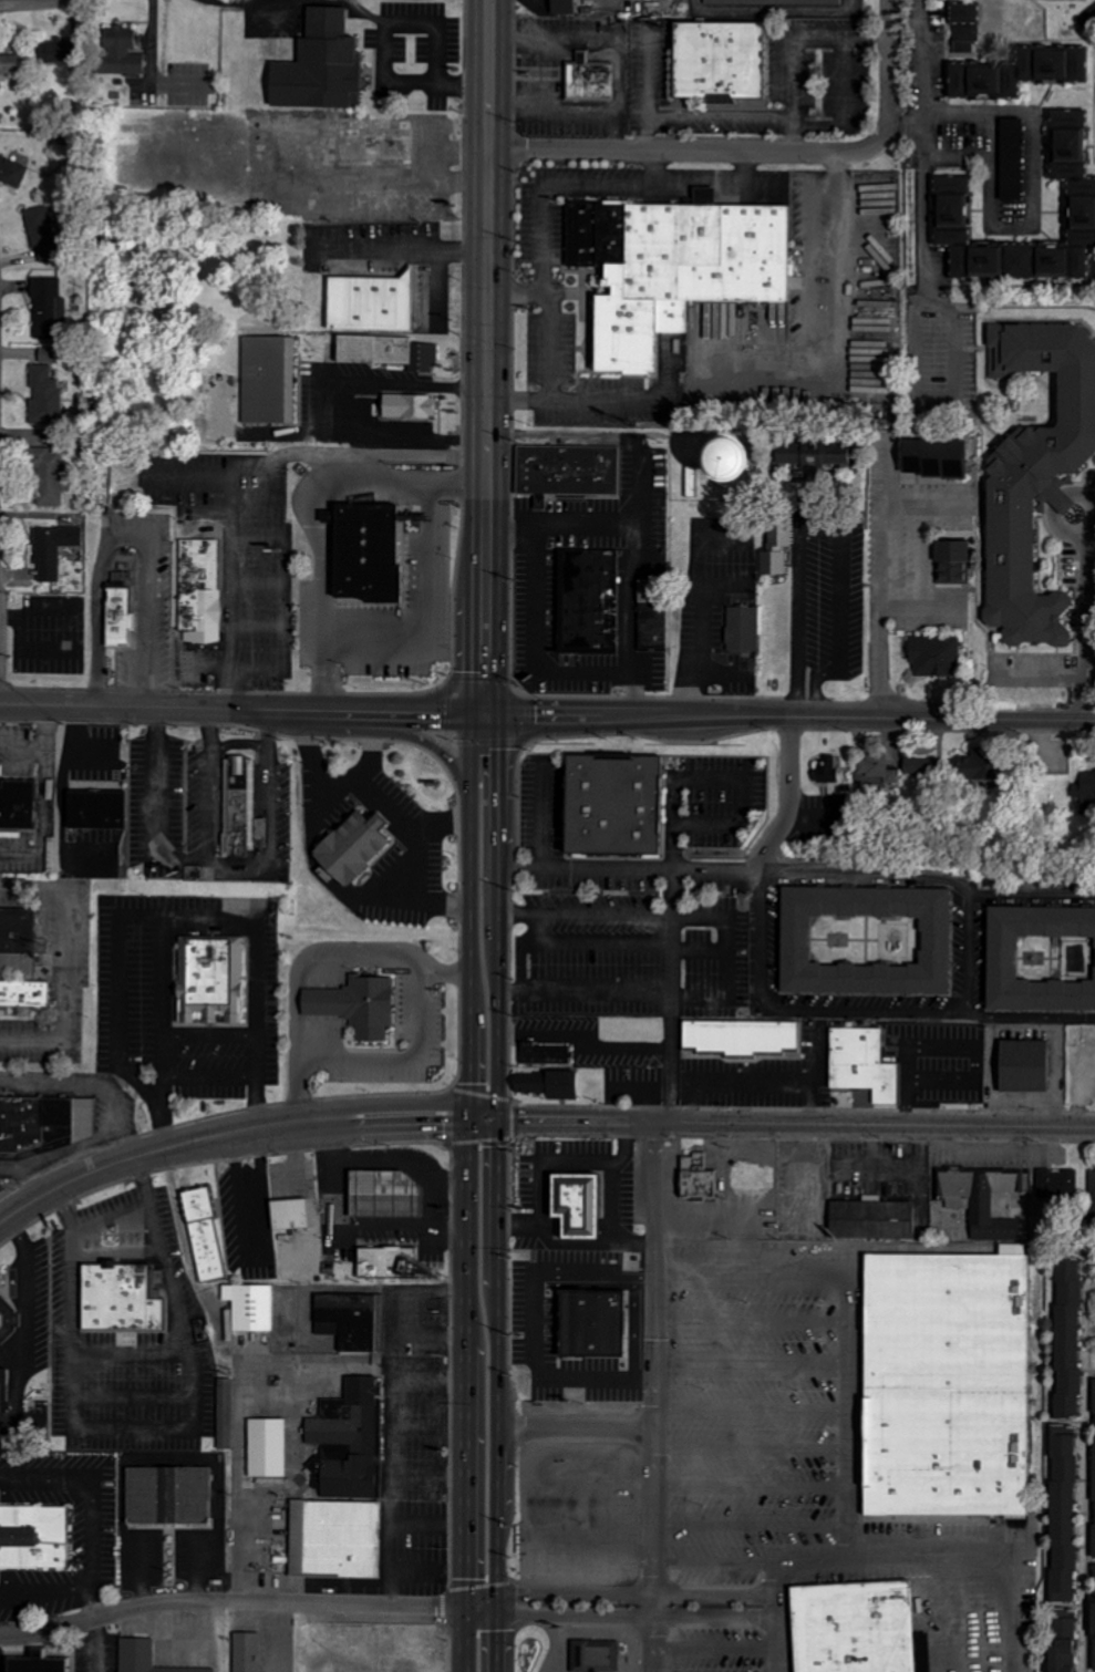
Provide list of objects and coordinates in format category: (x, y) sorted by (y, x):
road: (0, 0)
building: (776, 2)
building: (562, 7)
building: (963, 23)
road: (389, 48)
building: (56, 51)
building: (120, 53)
building: (716, 61)
building: (10, 64)
building: (319, 68)
road: (890, 72)
building: (1015, 73)
building: (589, 80)
road: (683, 152)
building: (1011, 161)
road: (659, 169)
building: (11, 172)
road: (559, 187)
road: (1036, 197)
road: (924, 204)
building: (950, 214)
building: (42, 235)
building: (669, 265)
road: (518, 296)
building: (370, 303)
building: (50, 311)
building: (373, 334)
building: (657, 352)
building: (385, 353)
building: (45, 355)
road: (485, 355)
water tower: (698, 376)
building: (268, 380)
building: (44, 396)
road: (574, 399)
building: (409, 405)
road: (338, 411)
road: (637, 452)
building: (936, 458)
building: (814, 460)
building: (568, 469)
building: (49, 477)
building: (1035, 477)
road: (1056, 494)
road: (1088, 495)
road: (887, 506)
road: (304, 509)
road: (827, 524)
road: (1064, 533)
road: (123, 534)
building: (776, 541)
building: (54, 548)
building: (364, 551)
road: (882, 555)
road: (927, 555)
building: (952, 561)
building: (199, 590)
road: (424, 600)
building: (591, 600)
building: (118, 617)
road: (878, 623)
road: (1083, 626)
building: (743, 628)
road: (533, 634)
road: (385, 652)
building: (934, 656)
road: (240, 709)
traffic signals: (481, 712)
road: (787, 716)
road: (262, 726)
road: (206, 727)
road: (235, 741)
building: (978, 765)
building: (920, 766)
road: (322, 768)
building: (827, 770)
building: (876, 771)
building: (1085, 786)
road: (204, 799)
road: (792, 799)
road: (265, 802)
building: (18, 803)
road: (154, 803)
road: (389, 807)
building: (240, 808)
building: (96, 811)
building: (622, 814)
road: (546, 817)
building: (359, 856)
road: (419, 874)
road: (229, 876)
road: (620, 876)
road: (928, 888)
road: (428, 910)
road: (504, 915)
road: (601, 915)
road: (177, 923)
building: (17, 940)
road: (590, 943)
building: (803, 948)
road: (524, 962)
building: (1008, 964)
building: (216, 987)
road: (577, 991)
building: (24, 993)
road: (671, 999)
road: (168, 1004)
building: (355, 1004)
road: (866, 1013)
building: (740, 1035)
road: (216, 1044)
building: (544, 1054)
road: (392, 1056)
building: (861, 1063)
building: (1022, 1066)
road: (482, 1072)
road: (761, 1080)
road: (204, 1084)
building: (546, 1084)
traffic signals: (481, 1122)
road: (872, 1124)
building: (43, 1125)
road: (316, 1126)
road: (546, 1172)
building: (696, 1177)
building: (1061, 1183)
building: (382, 1193)
building: (1092, 1196)
building: (982, 1201)
building: (575, 1205)
road: (109, 1215)
building: (289, 1215)
building: (871, 1219)
road: (352, 1230)
building: (203, 1235)
road: (598, 1243)
building: (382, 1261)
road: (756, 1266)
road: (655, 1276)
building: (121, 1297)
building: (249, 1307)
building: (8, 1319)
building: (349, 1319)
road: (756, 1322)
building: (1076, 1345)
road: (757, 1374)
building: (3, 1376)
building: (953, 1394)
road: (757, 1411)
road: (566, 1432)
road: (757, 1446)
building: (266, 1448)
parking lot: (684, 1451)
road: (655, 1454)
road: (1093, 1466)
road: (758, 1480)
building: (342, 1489)
building: (169, 1496)
road: (861, 1504)
building: (1094, 1504)
building: (1070, 1523)
road: (699, 1525)
road: (653, 1526)
road: (536, 1527)
building: (33, 1537)
road: (478, 1552)
road: (985, 1569)
road: (717, 1575)
road: (653, 1593)
road: (237, 1601)
traffic signals: (478, 1610)
road: (566, 1611)
building: (1093, 1611)
road: (720, 1614)
building: (862, 1629)
road: (559, 1641)
road: (654, 1642)
building: (1070, 1647)
road: (721, 1648)
building: (247, 1652)
building: (595, 1656)
building: (144, 1658)
building: (37, 1662)

